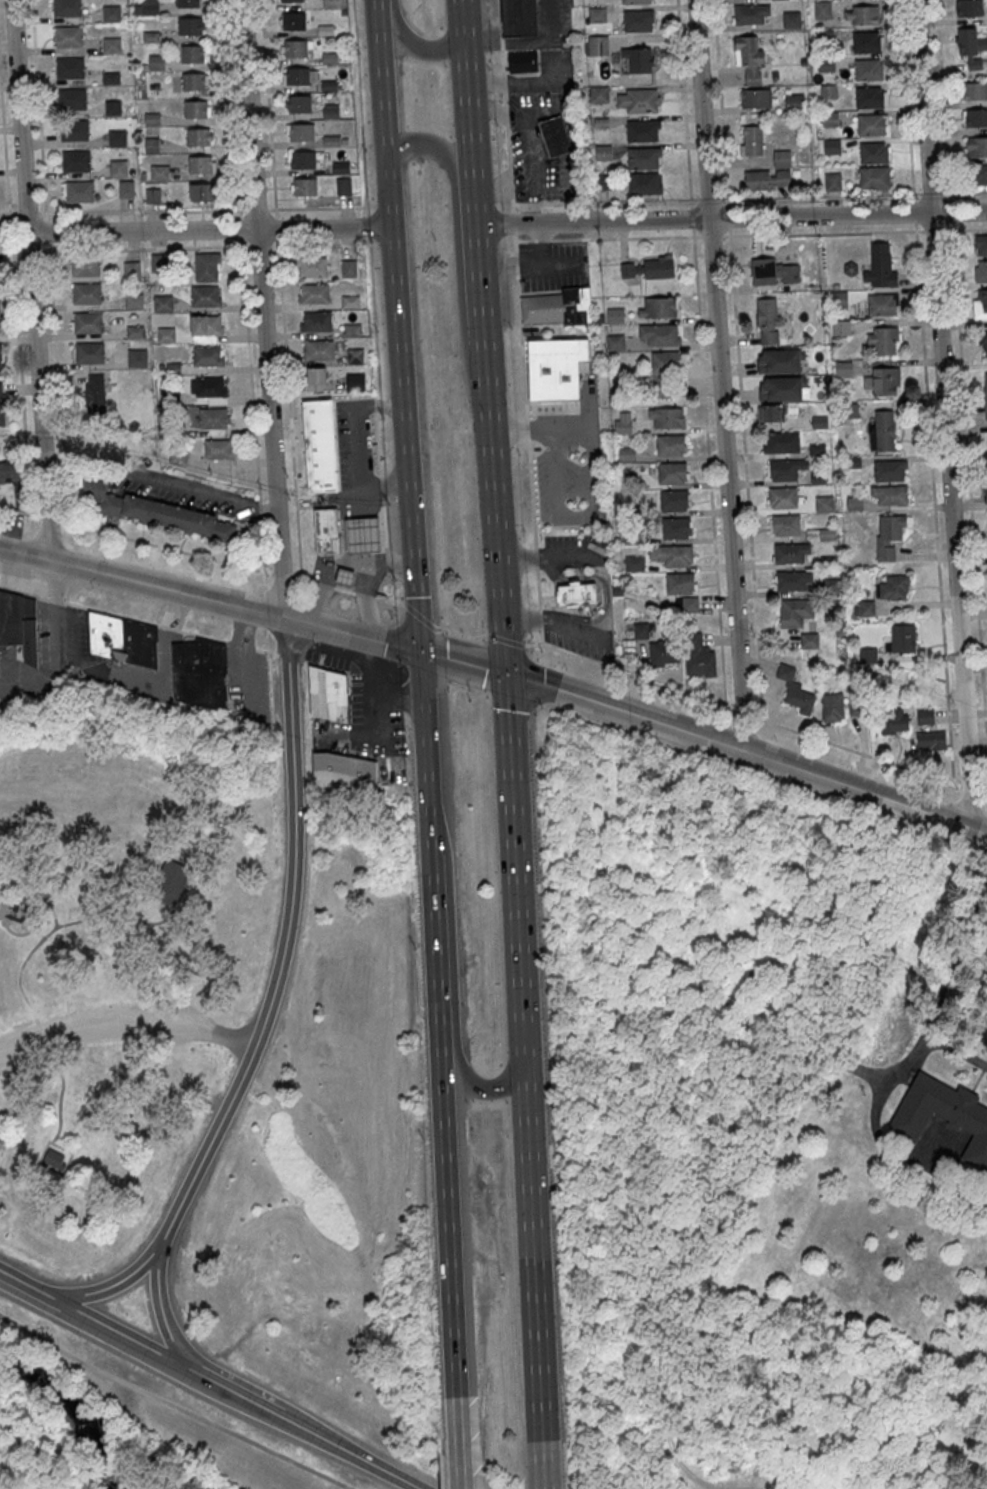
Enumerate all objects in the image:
building: (292, 0)
building: (637, 1)
building: (188, 3)
building: (331, 3)
building: (150, 7)
building: (66, 8)
building: (969, 8)
building: (822, 9)
building: (112, 13)
road: (498, 14)
building: (596, 14)
building: (751, 14)
building: (861, 15)
building: (791, 19)
building: (294, 20)
building: (518, 20)
building: (638, 20)
building: (188, 25)
building: (68, 36)
road: (500, 38)
building: (866, 42)
building: (113, 45)
road: (530, 45)
building: (597, 45)
building: (971, 46)
building: (295, 48)
road: (415, 48)
building: (192, 53)
road: (501, 57)
building: (750, 57)
building: (637, 59)
building: (156, 61)
building: (522, 65)
building: (70, 68)
building: (868, 70)
parking lot: (552, 74)
road: (383, 75)
building: (297, 76)
building: (111, 77)
road: (503, 77)
building: (193, 81)
road: (524, 83)
building: (975, 90)
building: (828, 91)
road: (466, 93)
building: (599, 94)
building: (869, 97)
road: (504, 98)
building: (756, 98)
building: (72, 99)
building: (638, 100)
road: (906, 100)
road: (942, 100)
building: (794, 102)
building: (300, 103)
road: (684, 103)
road: (720, 103)
road: (37, 106)
building: (113, 107)
building: (196, 108)
road: (505, 115)
building: (975, 117)
building: (152, 118)
building: (871, 125)
building: (74, 130)
building: (642, 130)
building: (302, 131)
building: (198, 136)
building: (117, 137)
building: (554, 140)
building: (752, 140)
road: (4, 144)
building: (152, 145)
road: (507, 145)
building: (831, 146)
building: (976, 146)
building: (603, 152)
building: (873, 153)
building: (643, 157)
building: (304, 160)
building: (76, 161)
building: (200, 164)
building: (342, 167)
building: (119, 168)
building: (159, 172)
building: (771, 174)
building: (981, 174)
road: (510, 176)
building: (874, 177)
building: (832, 181)
building: (644, 182)
building: (305, 186)
building: (344, 186)
road: (390, 187)
building: (126, 188)
building: (80, 191)
building: (201, 191)
road: (963, 191)
road: (930, 192)
building: (153, 195)
road: (820, 195)
road: (511, 199)
road: (708, 199)
road: (604, 200)
road: (474, 206)
road: (244, 209)
street lamp: (509, 209)
road: (914, 210)
road: (950, 210)
road: (730, 215)
road: (692, 217)
road: (728, 217)
road: (513, 223)
road: (324, 227)
road: (964, 227)
road: (933, 229)
road: (142, 231)
road: (826, 232)
road: (711, 235)
road: (726, 235)
road: (626, 236)
road: (540, 239)
road: (522, 240)
road: (514, 242)
road: (539, 244)
building: (980, 244)
road: (215, 245)
road: (515, 256)
road: (504, 259)
road: (458, 264)
road: (551, 265)
building: (880, 265)
building: (86, 266)
building: (207, 266)
building: (658, 266)
building: (313, 267)
building: (349, 268)
building: (131, 269)
building: (630, 269)
building: (981, 270)
parking lot: (556, 271)
building: (773, 272)
road: (31, 279)
road: (244, 285)
road: (280, 289)
road: (479, 289)
building: (87, 292)
building: (315, 293)
building: (205, 295)
building: (839, 298)
building: (134, 300)
building: (351, 301)
building: (982, 301)
building: (163, 302)
building: (882, 304)
building: (659, 307)
road: (262, 308)
building: (558, 309)
building: (615, 315)
building: (768, 320)
road: (16, 321)
building: (318, 321)
building: (88, 322)
building: (206, 324)
building: (842, 327)
building: (353, 329)
building: (135, 331)
building: (166, 334)
building: (659, 334)
road: (54, 337)
building: (883, 339)
road: (521, 340)
building: (983, 340)
building: (615, 342)
building: (319, 349)
building: (89, 352)
building: (356, 355)
building: (207, 356)
building: (137, 357)
building: (0, 360)
building: (778, 361)
building: (556, 367)
building: (843, 368)
building: (664, 373)
building: (316, 375)
road: (719, 375)
building: (356, 381)
building: (883, 381)
building: (209, 386)
building: (782, 388)
building: (985, 395)
building: (94, 397)
building: (2, 410)
building: (772, 412)
road: (946, 413)
building: (666, 417)
building: (213, 418)
road: (526, 428)
road: (568, 430)
building: (882, 430)
road: (520, 433)
road: (406, 437)
building: (781, 442)
building: (670, 445)
building: (219, 449)
building: (178, 457)
road: (708, 468)
building: (784, 469)
building: (889, 470)
building: (1, 472)
road: (745, 472)
building: (672, 473)
road: (969, 478)
road: (160, 479)
parking lot: (559, 482)
road: (531, 493)
building: (97, 494)
building: (889, 494)
building: (986, 496)
building: (782, 497)
building: (675, 500)
road: (933, 501)
building: (823, 503)
road: (495, 513)
road: (575, 516)
building: (179, 518)
building: (784, 524)
building: (676, 528)
building: (821, 533)
building: (326, 535)
building: (890, 537)
road: (136, 538)
building: (359, 539)
parking lot: (564, 547)
building: (790, 552)
building: (673, 555)
road: (535, 557)
road: (548, 559)
building: (634, 563)
road: (551, 571)
road: (282, 575)
road: (297, 579)
building: (346, 579)
road: (567, 580)
building: (793, 580)
road: (141, 581)
road: (307, 581)
building: (681, 583)
road: (323, 585)
building: (831, 586)
road: (537, 587)
building: (894, 587)
road: (343, 590)
road: (32, 595)
road: (365, 595)
road: (553, 595)
building: (576, 596)
road: (546, 597)
road: (389, 601)
road: (605, 601)
building: (687, 604)
building: (864, 607)
road: (557, 610)
road: (566, 611)
building: (795, 612)
road: (111, 613)
road: (555, 615)
road: (419, 616)
road: (538, 619)
road: (539, 621)
building: (19, 624)
road: (168, 627)
road: (439, 628)
building: (640, 630)
road: (575, 631)
road: (352, 633)
road: (50, 634)
road: (464, 635)
road: (203, 636)
road: (540, 636)
building: (903, 638)
building: (122, 639)
road: (504, 639)
building: (809, 640)
road: (240, 644)
parking lot: (581, 644)
traffic signals: (421, 650)
road: (266, 651)
building: (663, 652)
road: (281, 655)
building: (867, 655)
building: (698, 657)
road: (463, 661)
road: (242, 664)
road: (366, 670)
building: (201, 673)
traffic signals: (505, 673)
road: (628, 673)
road: (152, 682)
building: (795, 690)
road: (394, 693)
building: (327, 695)
road: (392, 700)
road: (423, 702)
building: (832, 707)
parking lot: (352, 711)
road: (742, 713)
building: (925, 716)
building: (894, 722)
road: (373, 736)
building: (931, 740)
road: (737, 749)
road: (856, 751)
building: (342, 772)
road: (427, 774)
road: (971, 789)
road: (984, 792)
road: (978, 831)
road: (294, 837)
road: (514, 862)
building: (169, 882)
road: (46, 902)
road: (37, 934)
park: (122, 958)
road: (19, 971)
road: (452, 980)
road: (126, 1022)
parking lot: (92, 1035)
road: (876, 1105)
building: (944, 1115)
road: (444, 1129)
road: (205, 1149)
building: (55, 1157)
park: (260, 1232)
road: (534, 1270)
road: (107, 1290)
road: (171, 1330)
road: (207, 1384)
road: (172, 1405)
river: (70, 1410)
road: (460, 1476)

